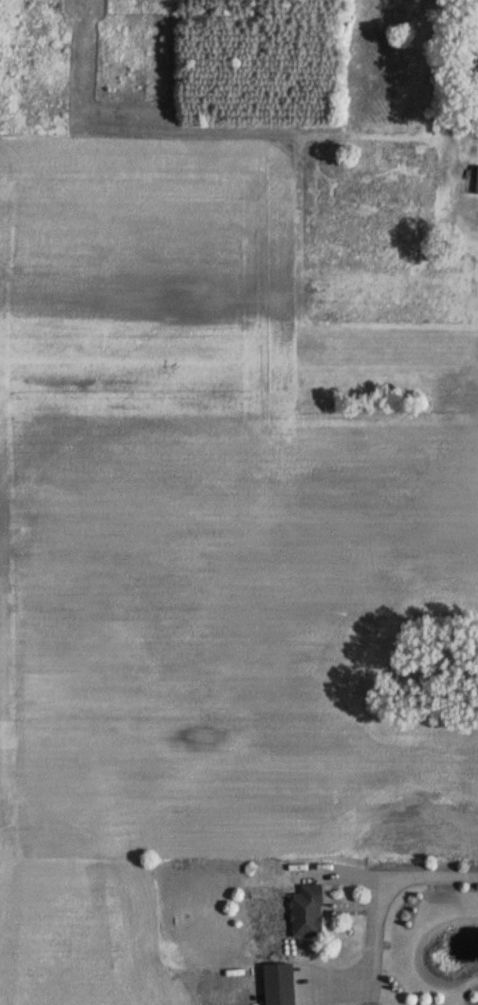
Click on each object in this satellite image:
building: (477, 184)
road: (397, 883)
building: (312, 912)
building: (283, 985)

